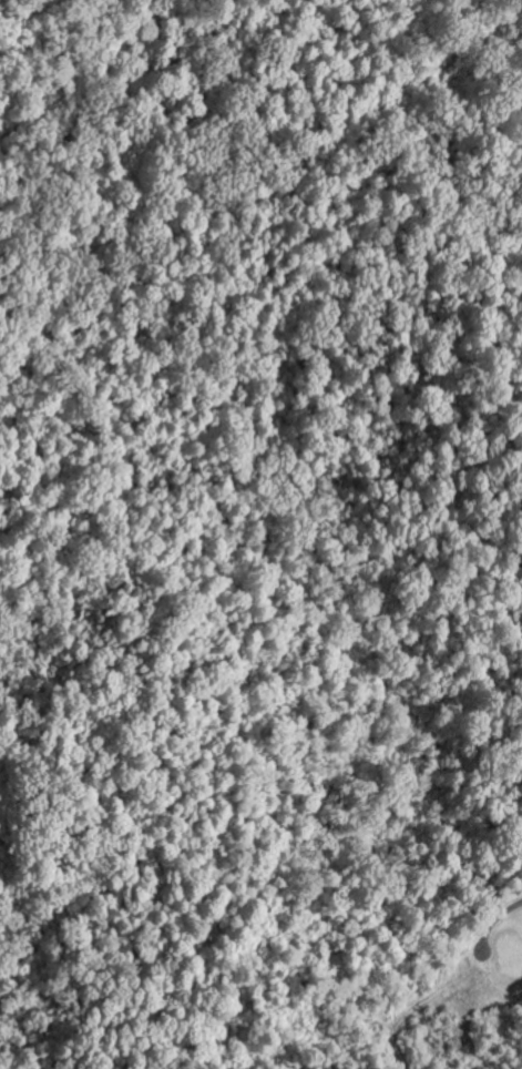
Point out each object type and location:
road: (495, 922)
park: (497, 957)
road: (403, 1019)

